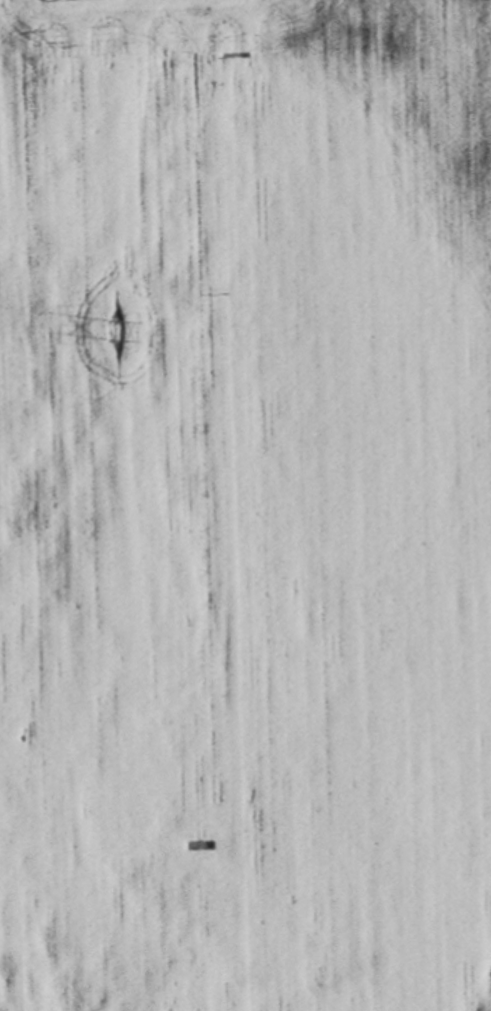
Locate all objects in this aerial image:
power tower: (115, 333)

